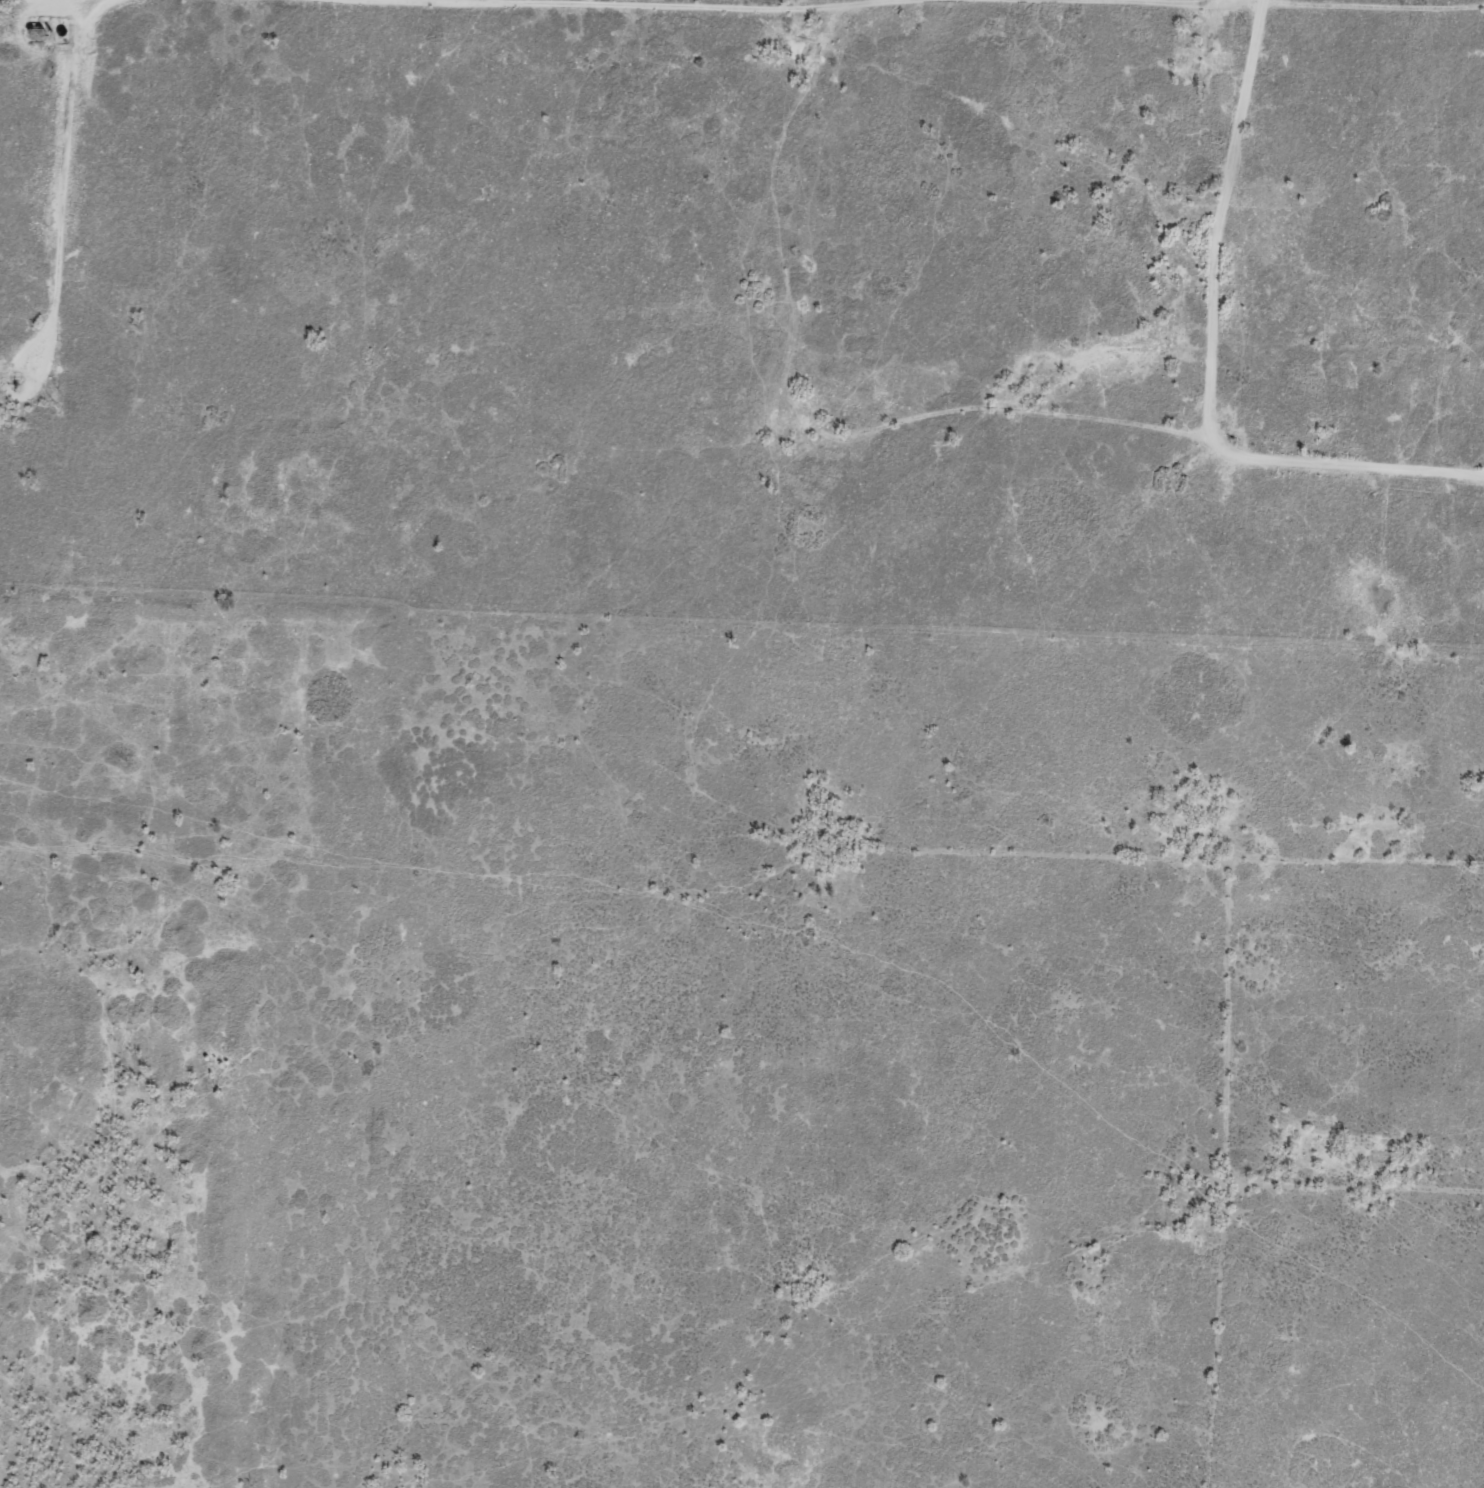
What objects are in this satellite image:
road: (1078, 13)
road: (1387, 22)
road: (1256, 234)
road: (956, 437)
road: (1287, 1091)
road: (1384, 1206)

